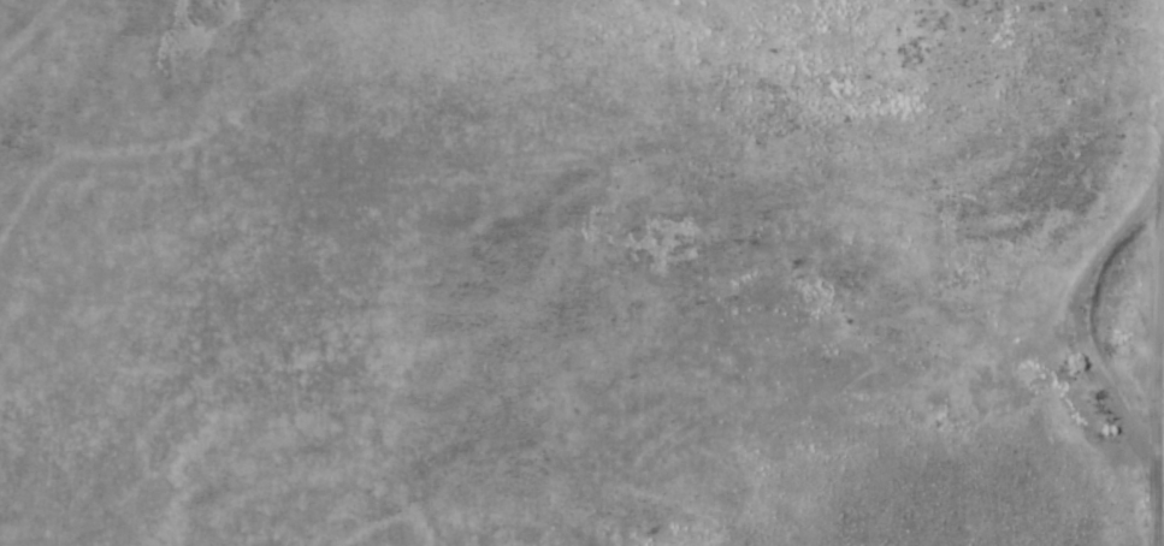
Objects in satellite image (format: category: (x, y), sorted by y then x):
road: (1160, 444)

